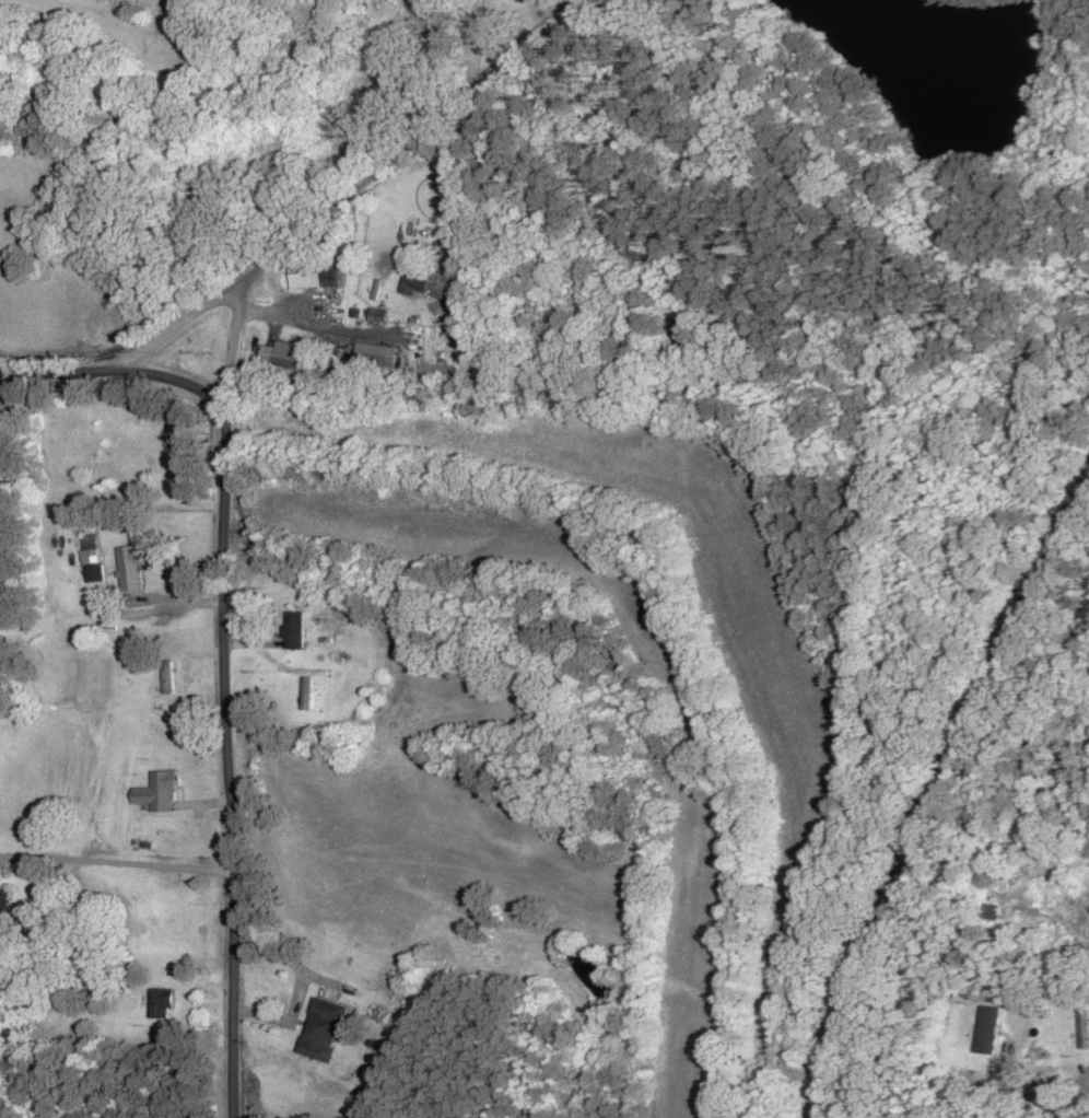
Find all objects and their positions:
building: (314, 278)
building: (433, 281)
road: (138, 337)
building: (375, 356)
building: (280, 357)
road: (215, 368)
road: (271, 477)
building: (132, 568)
building: (94, 574)
building: (295, 631)
building: (308, 695)
railway: (937, 790)
building: (159, 793)
building: (3, 899)
building: (991, 912)
building: (161, 1004)
building: (323, 1029)
building: (1084, 1029)

